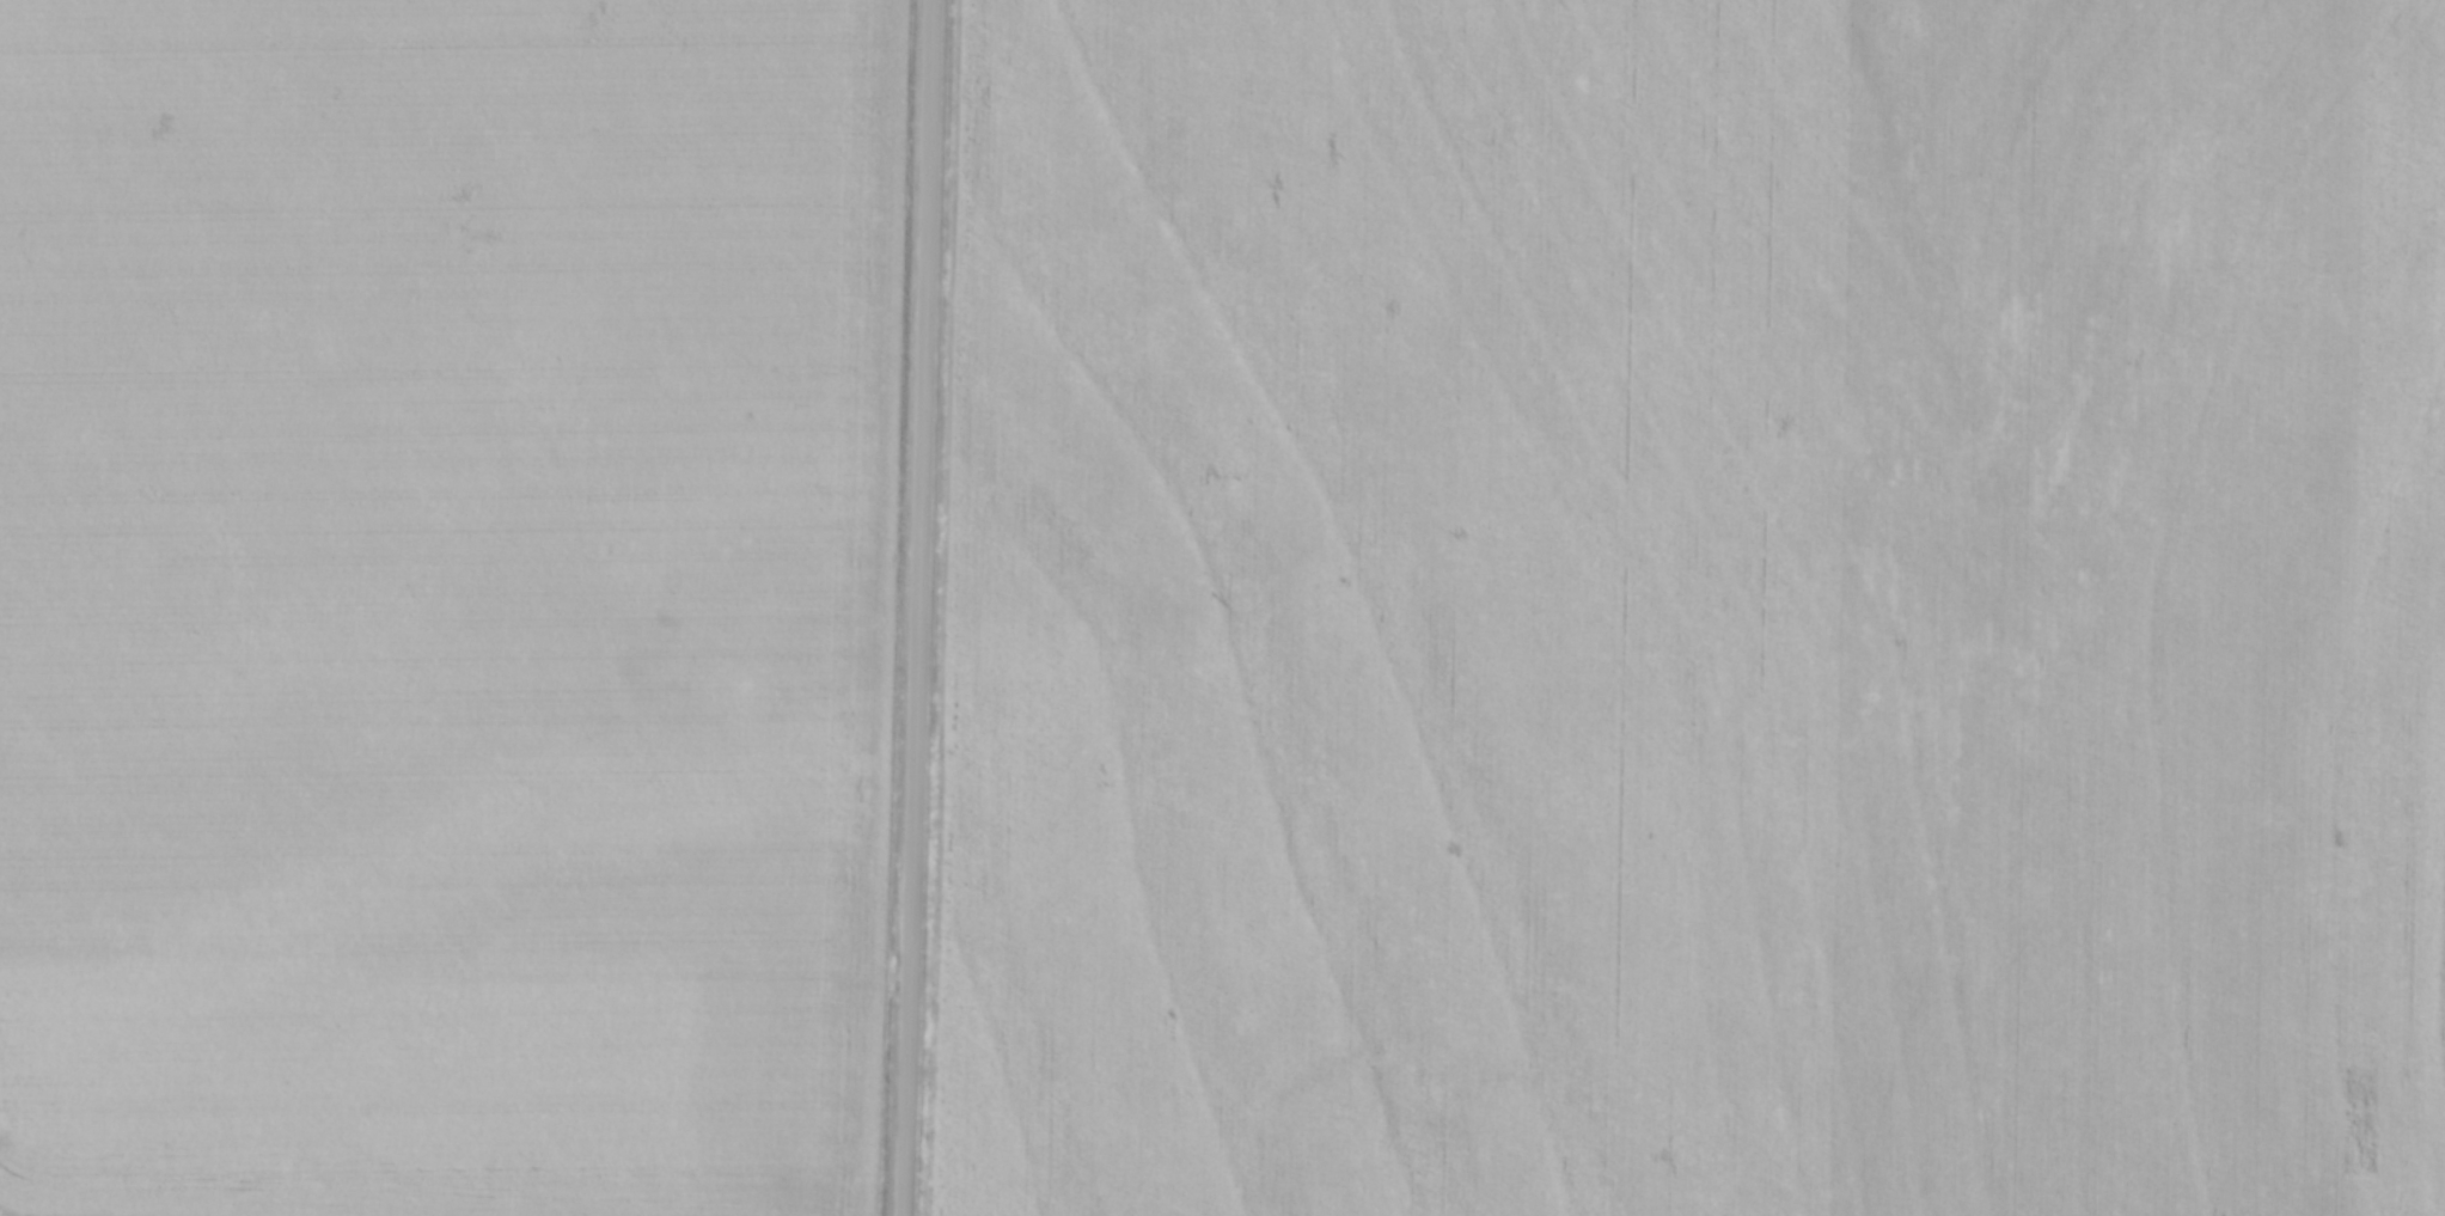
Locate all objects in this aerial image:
crop: (445, 604)
road: (919, 607)
crop: (1695, 609)

